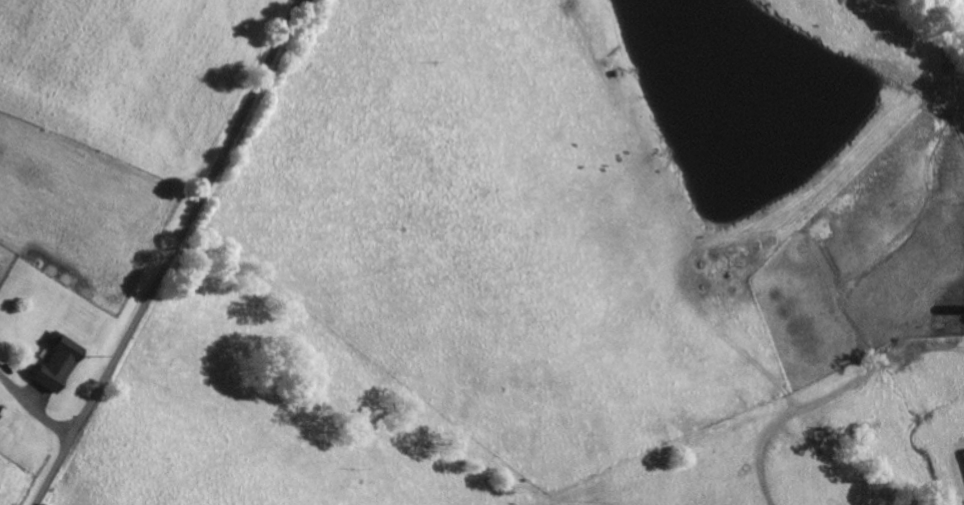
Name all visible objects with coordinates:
road: (173, 254)
road: (824, 335)
building: (64, 362)

